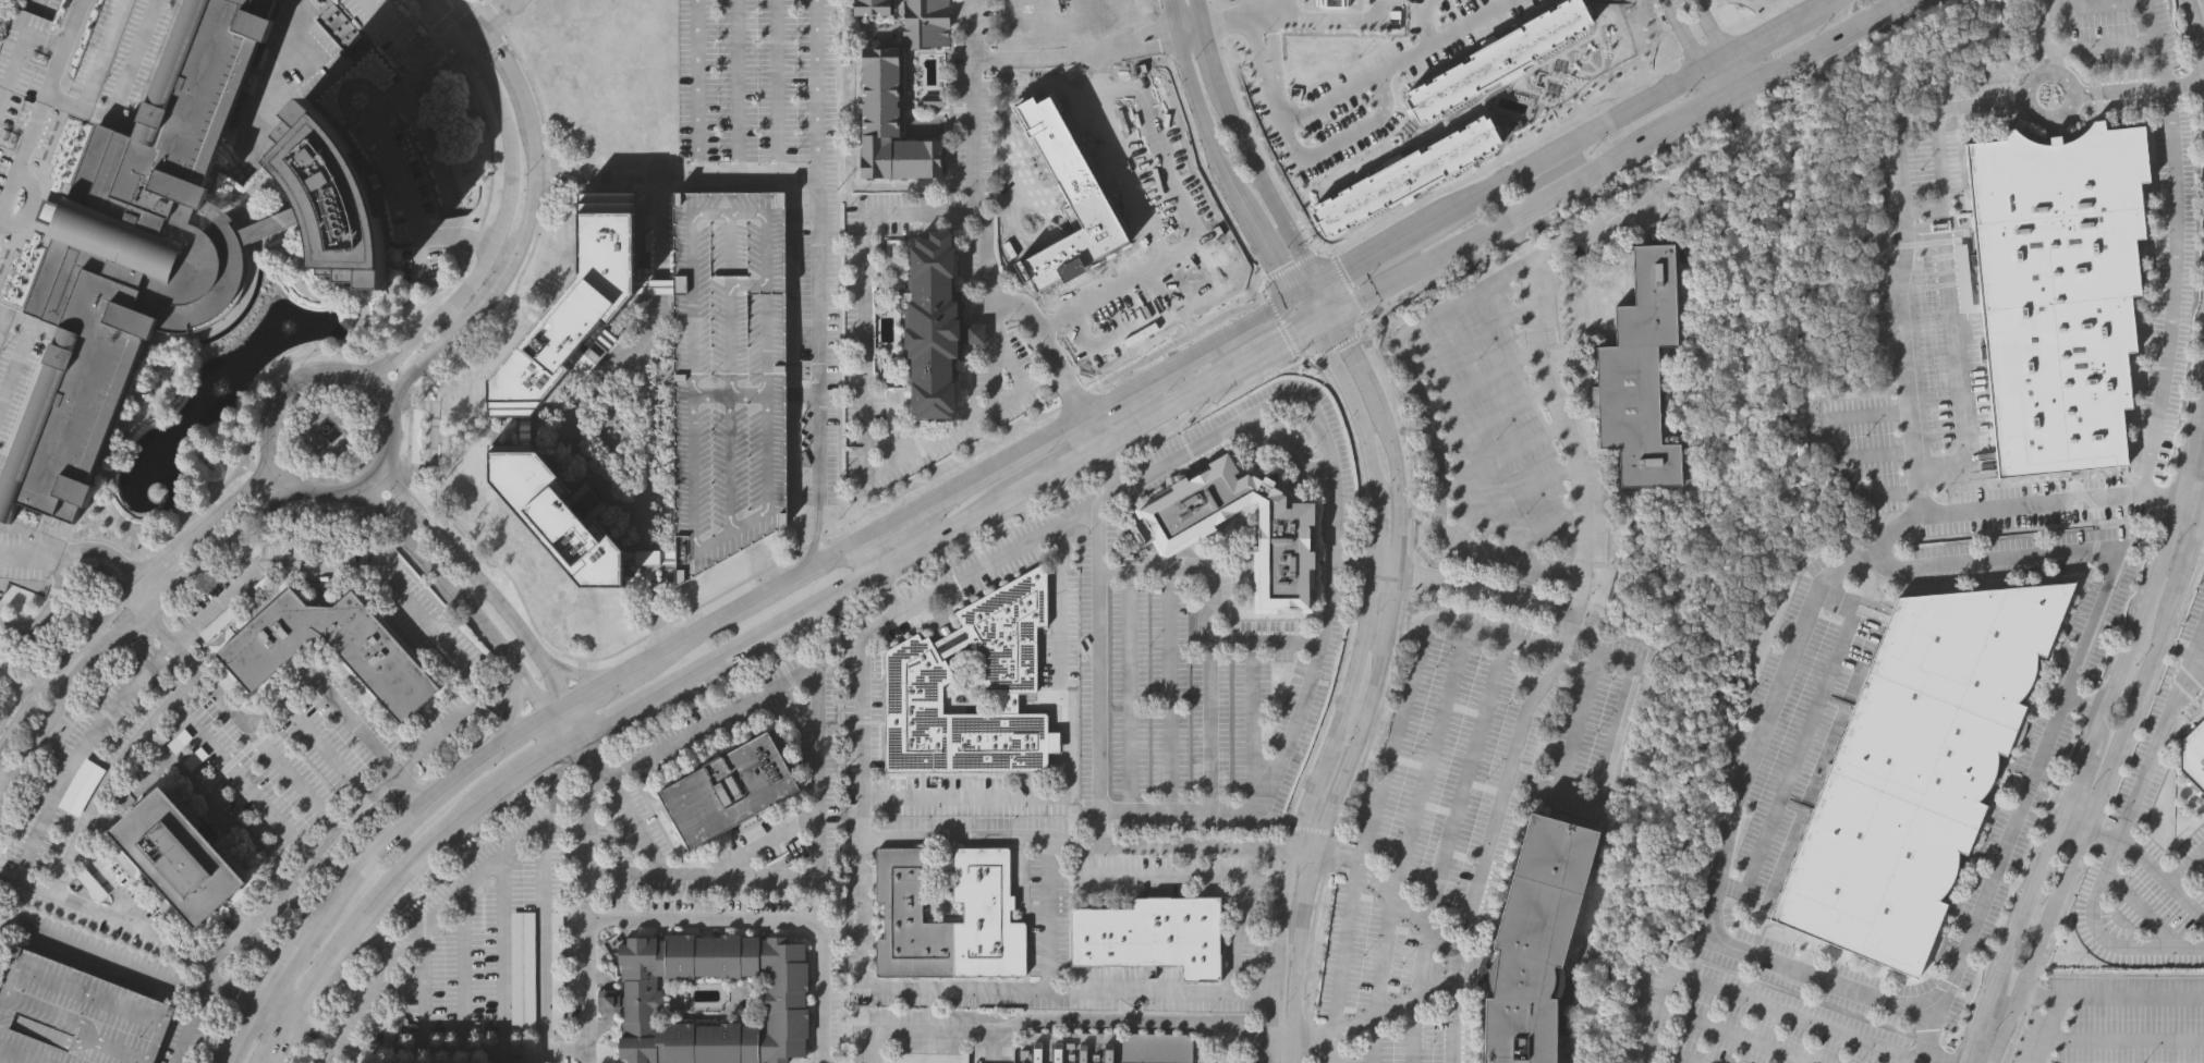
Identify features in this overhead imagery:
road: (476, 1)
road: (2133, 2)
building: (870, 8)
road: (1252, 9)
road: (1288, 9)
road: (1810, 10)
road: (1168, 11)
road: (467, 12)
road: (494, 13)
road: (1203, 13)
road: (519, 14)
road: (489, 16)
road: (448, 19)
road: (1299, 19)
road: (454, 20)
road: (1214, 22)
road: (1462, 22)
building: (925, 23)
road: (1189, 24)
road: (2196, 25)
road: (1715, 27)
road: (471, 32)
road: (1143, 32)
road: (2042, 32)
road: (1173, 33)
road: (1685, 35)
road: (1191, 36)
road: (1763, 36)
road: (393, 37)
road: (17, 40)
road: (478, 46)
road: (60, 47)
road: (1147, 47)
road: (1211, 48)
building: (1497, 54)
road: (1045, 57)
street lamp: (1192, 58)
road: (1718, 61)
road: (1741, 66)
road: (697, 73)
road: (124, 74)
parking lot: (757, 80)
road: (1713, 82)
road: (270, 83)
road: (738, 87)
road: (775, 87)
road: (2134, 89)
road: (816, 90)
road: (1327, 97)
road: (60, 100)
road: (1193, 103)
road: (2053, 115)
building: (890, 121)
road: (1573, 143)
road: (1351, 152)
road: (1612, 155)
street lamp: (1239, 163)
road: (398, 164)
road: (563, 168)
road: (1266, 179)
road: (1939, 180)
road: (563, 182)
road: (1660, 184)
road: (1235, 193)
building: (337, 201)
road: (657, 224)
road: (985, 228)
road: (502, 230)
road: (526, 232)
street lamp: (1284, 245)
road: (1380, 251)
building: (136, 253)
road: (1274, 264)
road: (817, 267)
building: (658, 282)
road: (660, 282)
traffic signals: (1318, 286)
road: (1348, 289)
building: (2058, 290)
road: (1306, 293)
road: (1325, 300)
traffic signals: (1294, 301)
building: (577, 305)
traffic signals: (1331, 313)
traffic signals: (1308, 325)
building: (935, 328)
road: (1350, 347)
road: (1209, 349)
road: (336, 351)
road: (1953, 355)
building: (729, 369)
parking garage: (729, 369)
building: (1639, 371)
road: (1386, 374)
road: (1019, 376)
road: (295, 382)
road: (803, 395)
road: (866, 395)
road: (1105, 406)
road: (650, 417)
road: (1316, 418)
road: (568, 430)
road: (1430, 430)
road: (1828, 440)
road: (1286, 453)
road: (1096, 455)
road: (1003, 463)
road: (253, 467)
road: (876, 469)
road: (284, 471)
road: (376, 474)
road: (1397, 474)
road: (1074, 477)
road: (2156, 496)
road: (2189, 504)
road: (1975, 506)
road: (2203, 509)
building: (558, 514)
road: (204, 522)
road: (890, 525)
road: (957, 526)
building: (1181, 533)
road: (221, 541)
road: (2152, 547)
building: (650, 555)
road: (650, 555)
road: (68, 557)
road: (1353, 560)
road: (1386, 566)
road: (477, 583)
road: (389, 585)
road: (1485, 590)
road: (139, 592)
road: (459, 597)
road: (751, 602)
road: (1391, 603)
road: (524, 604)
road: (650, 608)
road: (157, 630)
road: (1205, 636)
road: (1263, 642)
road: (58, 657)
road: (1096, 659)
road: (2073, 663)
road: (1556, 665)
building: (390, 669)
building: (914, 669)
road: (576, 674)
road: (1351, 676)
road: (15, 681)
road: (606, 683)
road: (1622, 688)
road: (2187, 691)
road: (288, 692)
road: (1169, 692)
road: (1129, 693)
road: (17, 699)
road: (63, 699)
road: (2083, 700)
road: (513, 708)
road: (560, 708)
road: (500, 711)
road: (575, 719)
road: (564, 725)
road: (2097, 725)
road: (1251, 728)
road: (1800, 736)
road: (60, 737)
road: (1352, 745)
road: (325, 749)
road: (1408, 753)
building: (2194, 754)
road: (1424, 756)
road: (543, 759)
road: (74, 760)
road: (1387, 760)
road: (817, 761)
building: (1917, 767)
road: (110, 772)
road: (290, 777)
road: (242, 779)
road: (4, 784)
road: (2099, 784)
building: (729, 790)
road: (994, 798)
road: (418, 812)
road: (2073, 822)
road: (2121, 827)
road: (1721, 828)
road: (1311, 829)
road: (963, 835)
road: (1190, 844)
building: (181, 857)
road: (590, 859)
road: (2150, 865)
road: (2187, 867)
road: (1308, 871)
road: (1227, 876)
road: (385, 891)
road: (1390, 891)
road: (278, 895)
building: (986, 916)
road: (118, 918)
road: (772, 918)
road: (428, 921)
road: (541, 933)
building: (1150, 936)
building: (1533, 941)
road: (502, 950)
road: (99, 952)
road: (1295, 965)
road: (587, 967)
road: (283, 968)
road: (114, 969)
road: (462, 969)
building: (522, 970)
parking lot: (522, 970)
building: (557, 972)
parking lot: (557, 972)
road: (424, 988)
road: (876, 988)
road: (1061, 990)
road: (210, 991)
road: (2041, 997)
road: (2097, 998)
building: (626, 1002)
road: (1789, 1010)
road: (275, 1013)
building: (75, 1015)
parking garage: (75, 1015)
road: (1659, 1017)
road: (1056, 1019)
road: (1374, 1019)
road: (190, 1030)
road: (245, 1033)
road: (1410, 1034)
road: (1749, 1035)
road: (1281, 1038)
road: (279, 1042)
road: (1222, 1046)
building: (1104, 1048)
road: (434, 1049)
road: (1292, 1050)
road: (1331, 1050)
road: (332, 1054)
road: (1684, 1054)
road: (533, 1055)
building: (506, 1061)
road: (1931, 1062)

